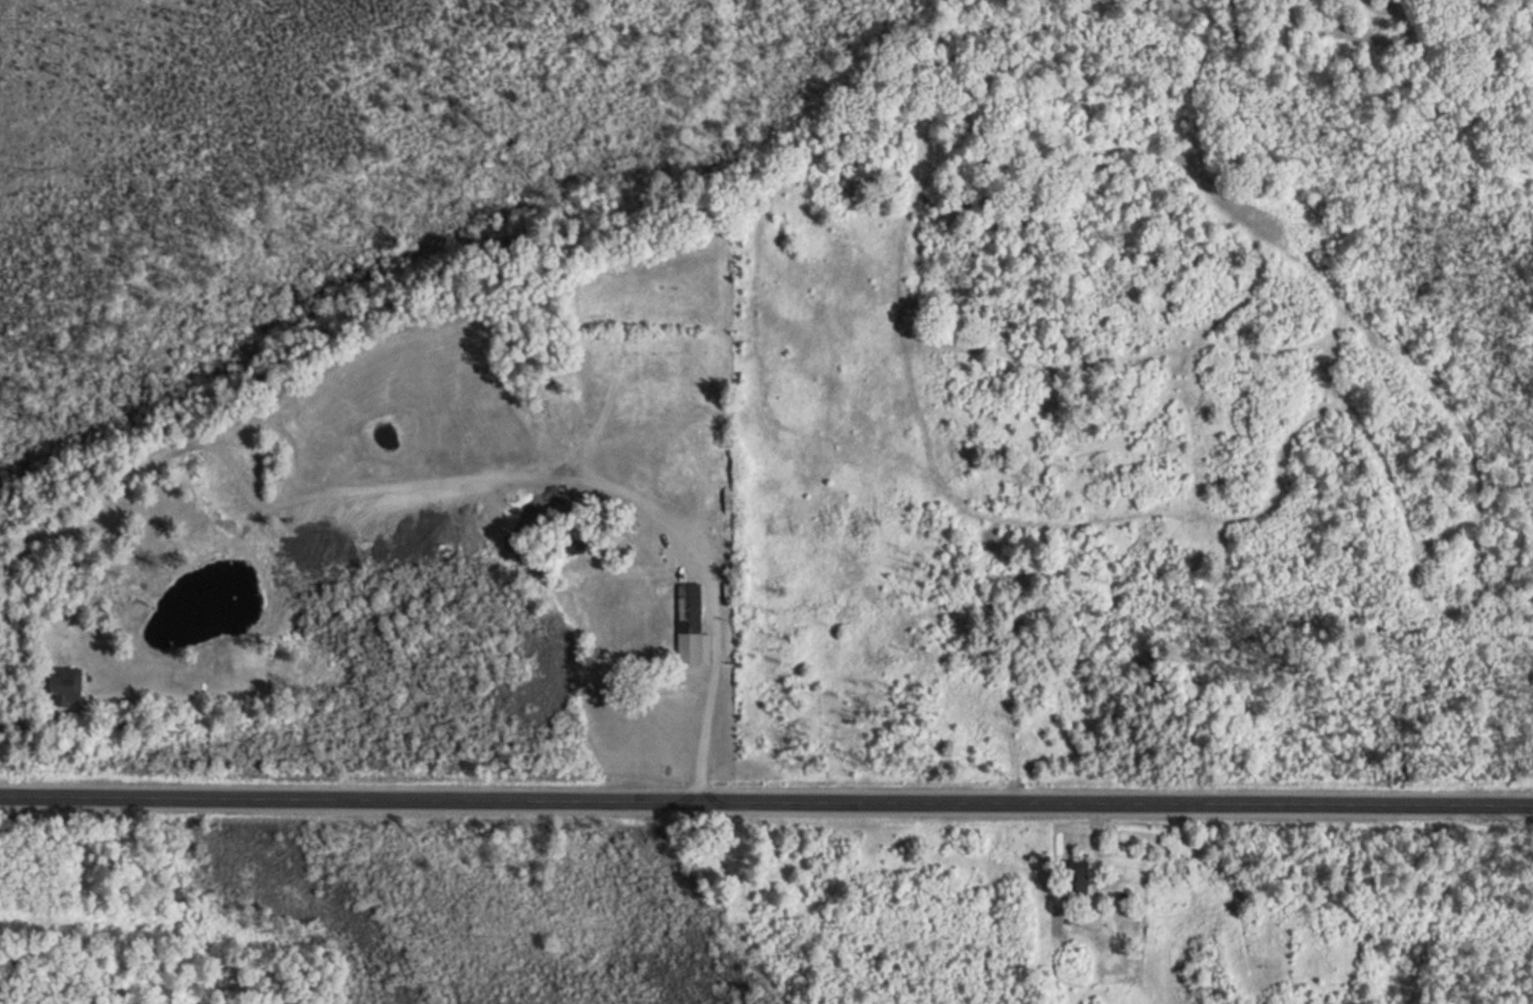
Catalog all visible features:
building: (688, 625)
building: (63, 684)
road: (766, 796)
building: (1075, 882)
building: (1108, 962)

